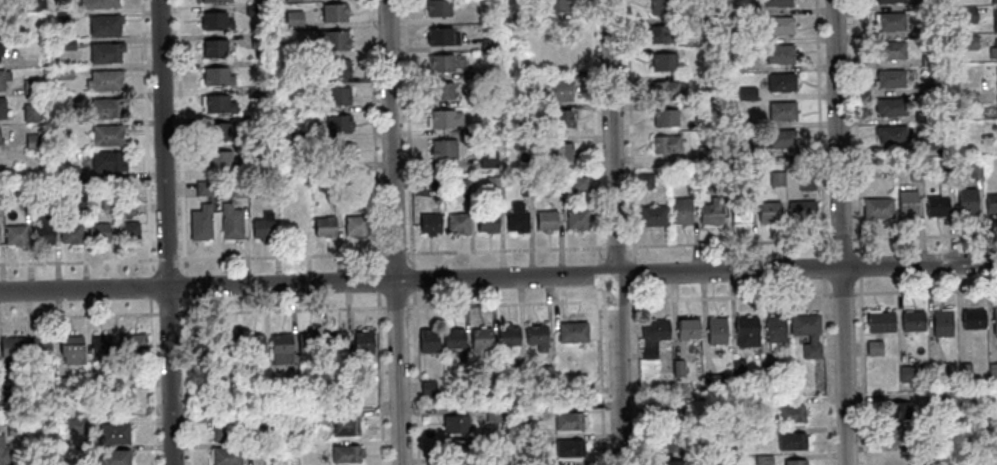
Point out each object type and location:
building: (214, 0)
building: (289, 0)
building: (887, 0)
building: (993, 0)
building: (776, 2)
building: (2, 3)
building: (98, 3)
building: (30, 4)
building: (918, 4)
building: (555, 5)
building: (661, 6)
building: (438, 7)
building: (252, 9)
building: (750, 9)
building: (333, 11)
building: (966, 12)
building: (522, 14)
building: (63, 17)
building: (1, 19)
building: (292, 19)
building: (215, 20)
building: (994, 20)
building: (890, 21)
building: (103, 24)
building: (705, 24)
building: (778, 25)
building: (928, 29)
building: (661, 33)
building: (441, 35)
building: (749, 37)
building: (332, 38)
building: (258, 40)
building: (968, 42)
building: (486, 43)
building: (65, 44)
building: (214, 47)
building: (890, 49)
building: (300, 50)
building: (993, 50)
building: (1, 52)
building: (105, 52)
building: (779, 53)
building: (928, 60)
building: (663, 61)
building: (440, 62)
building: (735, 62)
building: (715, 66)
building: (336, 68)
building: (494, 69)
building: (63, 72)
building: (996, 74)
building: (217, 76)
building: (300, 77)
building: (3, 78)
building: (889, 78)
building: (105, 79)
building: (780, 81)
building: (517, 84)
building: (933, 85)
building: (30, 86)
building: (664, 89)
building: (441, 90)
building: (558, 90)
building: (254, 91)
building: (746, 92)
building: (337, 95)
building: (968, 98)
building: (216, 103)
building: (996, 103)
building: (891, 106)
building: (106, 107)
building: (1, 108)
building: (782, 110)
building: (30, 111)
building: (922, 116)
building: (664, 117)
building: (443, 118)
building: (557, 118)
building: (337, 123)
building: (736, 123)
building: (477, 127)
building: (219, 132)
building: (291, 132)
road: (594, 132)
road: (630, 132)
building: (890, 133)
building: (106, 134)
building: (1, 135)
road: (373, 135)
road: (408, 135)
road: (145, 138)
road: (181, 138)
building: (781, 138)
building: (32, 140)
building: (520, 140)
building: (664, 143)
building: (926, 143)
building: (260, 148)
building: (442, 148)
building: (558, 151)
building: (746, 151)
building: (337, 152)
building: (706, 152)
building: (487, 158)
building: (220, 159)
building: (106, 161)
building: (291, 163)
building: (974, 169)
building: (871, 171)
building: (914, 172)
building: (70, 173)
building: (776, 178)
building: (717, 180)
building: (643, 181)
building: (806, 182)
building: (578, 183)
building: (493, 184)
building: (466, 185)
building: (203, 187)
building: (361, 187)
building: (525, 187)
building: (555, 187)
building: (331, 190)
building: (51, 197)
building: (22, 199)
building: (76, 199)
building: (107, 201)
building: (966, 201)
building: (906, 203)
building: (991, 204)
building: (936, 205)
building: (125, 207)
building: (877, 208)
building: (740, 209)
building: (681, 210)
building: (801, 210)
building: (710, 211)
building: (768, 211)
building: (652, 215)
building: (516, 217)
building: (576, 219)
building: (545, 220)
building: (230, 221)
building: (486, 221)
building: (200, 222)
building: (456, 222)
building: (429, 223)
building: (355, 225)
building: (262, 226)
building: (323, 226)
building: (294, 227)
building: (42, 230)
building: (69, 230)
building: (127, 231)
building: (97, 232)
road: (165, 232)
road: (393, 232)
road: (614, 232)
road: (822, 232)
road: (839, 232)
road: (858, 232)
building: (14, 234)
road: (811, 241)
road: (616, 248)
road: (505, 251)
road: (395, 255)
road: (281, 258)
road: (167, 261)
road: (78, 263)
road: (635, 275)
road: (599, 276)
road: (498, 278)
road: (413, 281)
road: (378, 283)
road: (186, 288)
road: (150, 289)
road: (812, 296)
road: (617, 303)
road: (506, 305)
road: (396, 309)
road: (282, 312)
road: (167, 315)
road: (78, 317)
building: (973, 318)
building: (912, 320)
building: (995, 320)
building: (880, 321)
building: (941, 322)
building: (687, 328)
building: (716, 330)
building: (774, 330)
building: (746, 331)
building: (806, 331)
building: (571, 332)
building: (508, 335)
building: (652, 335)
building: (536, 336)
building: (452, 338)
building: (480, 338)
building: (335, 340)
building: (427, 340)
building: (308, 341)
building: (362, 342)
building: (129, 343)
building: (224, 344)
building: (252, 344)
building: (200, 346)
building: (10, 347)
building: (873, 347)
building: (100, 348)
building: (280, 348)
building: (40, 349)
building: (71, 349)
building: (518, 367)
building: (737, 367)
building: (678, 368)
building: (964, 370)
building: (992, 371)
building: (545, 373)
building: (766, 373)
building: (905, 373)
building: (938, 373)
road: (637, 375)
road: (600, 376)
road: (380, 379)
road: (416, 379)
building: (137, 381)
building: (712, 381)
building: (91, 382)
road: (187, 382)
road: (151, 383)
building: (62, 384)
building: (427, 387)
building: (972, 397)
building: (5, 398)
building: (940, 402)
building: (898, 409)
building: (530, 411)
building: (789, 413)
building: (493, 414)
building: (669, 417)
building: (301, 418)
building: (569, 420)
building: (266, 421)
building: (75, 423)
building: (454, 423)
building: (344, 426)
building: (980, 429)
building: (14, 430)
building: (225, 430)
building: (755, 433)
building: (113, 434)
building: (897, 435)
building: (791, 440)
building: (670, 442)
building: (456, 447)
building: (569, 447)
building: (267, 449)
building: (3, 452)
building: (344, 453)
building: (225, 456)
building: (112, 458)
building: (762, 459)
building: (458, 460)
building: (672, 462)
building: (794, 462)

